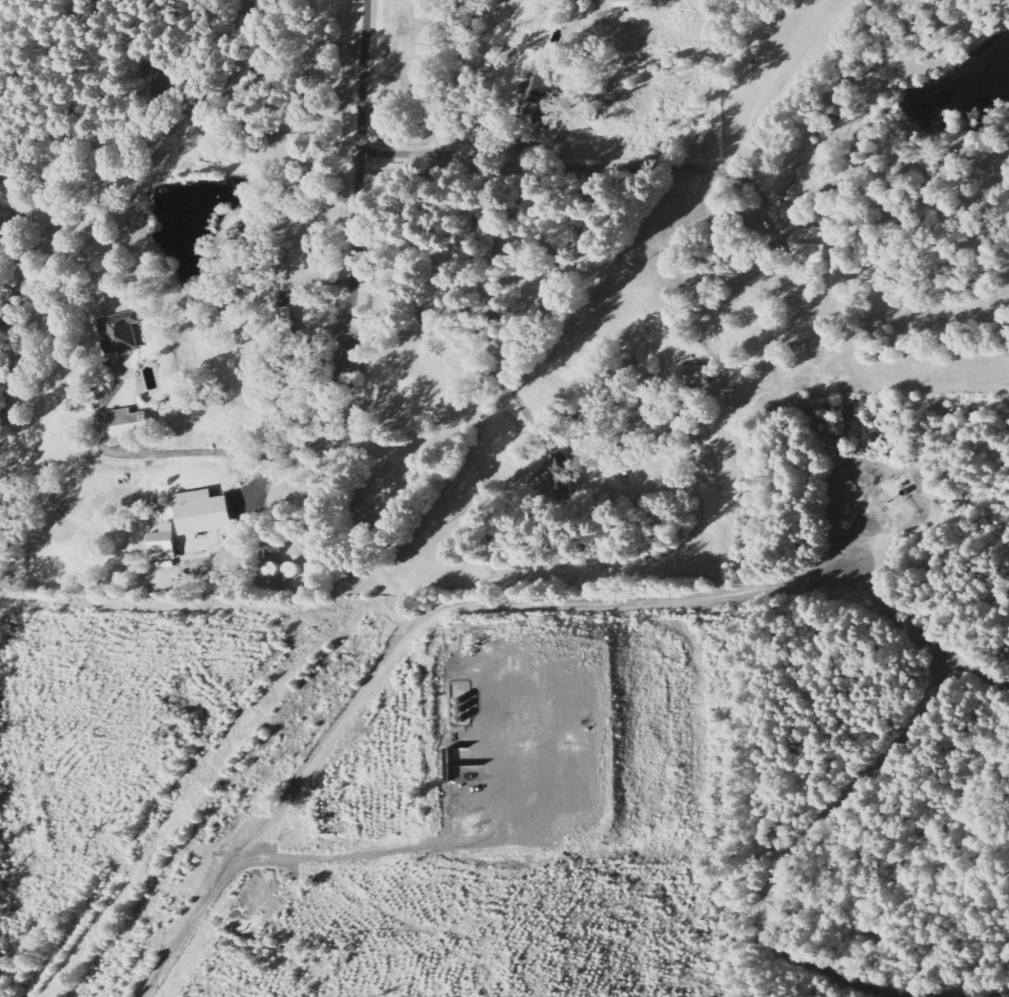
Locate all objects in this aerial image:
building: (540, 97)
road: (362, 184)
building: (119, 333)
building: (694, 375)
building: (126, 422)
building: (201, 512)
building: (161, 544)
building: (270, 570)
building: (291, 570)
road: (499, 605)
road: (799, 838)
road: (983, 995)

